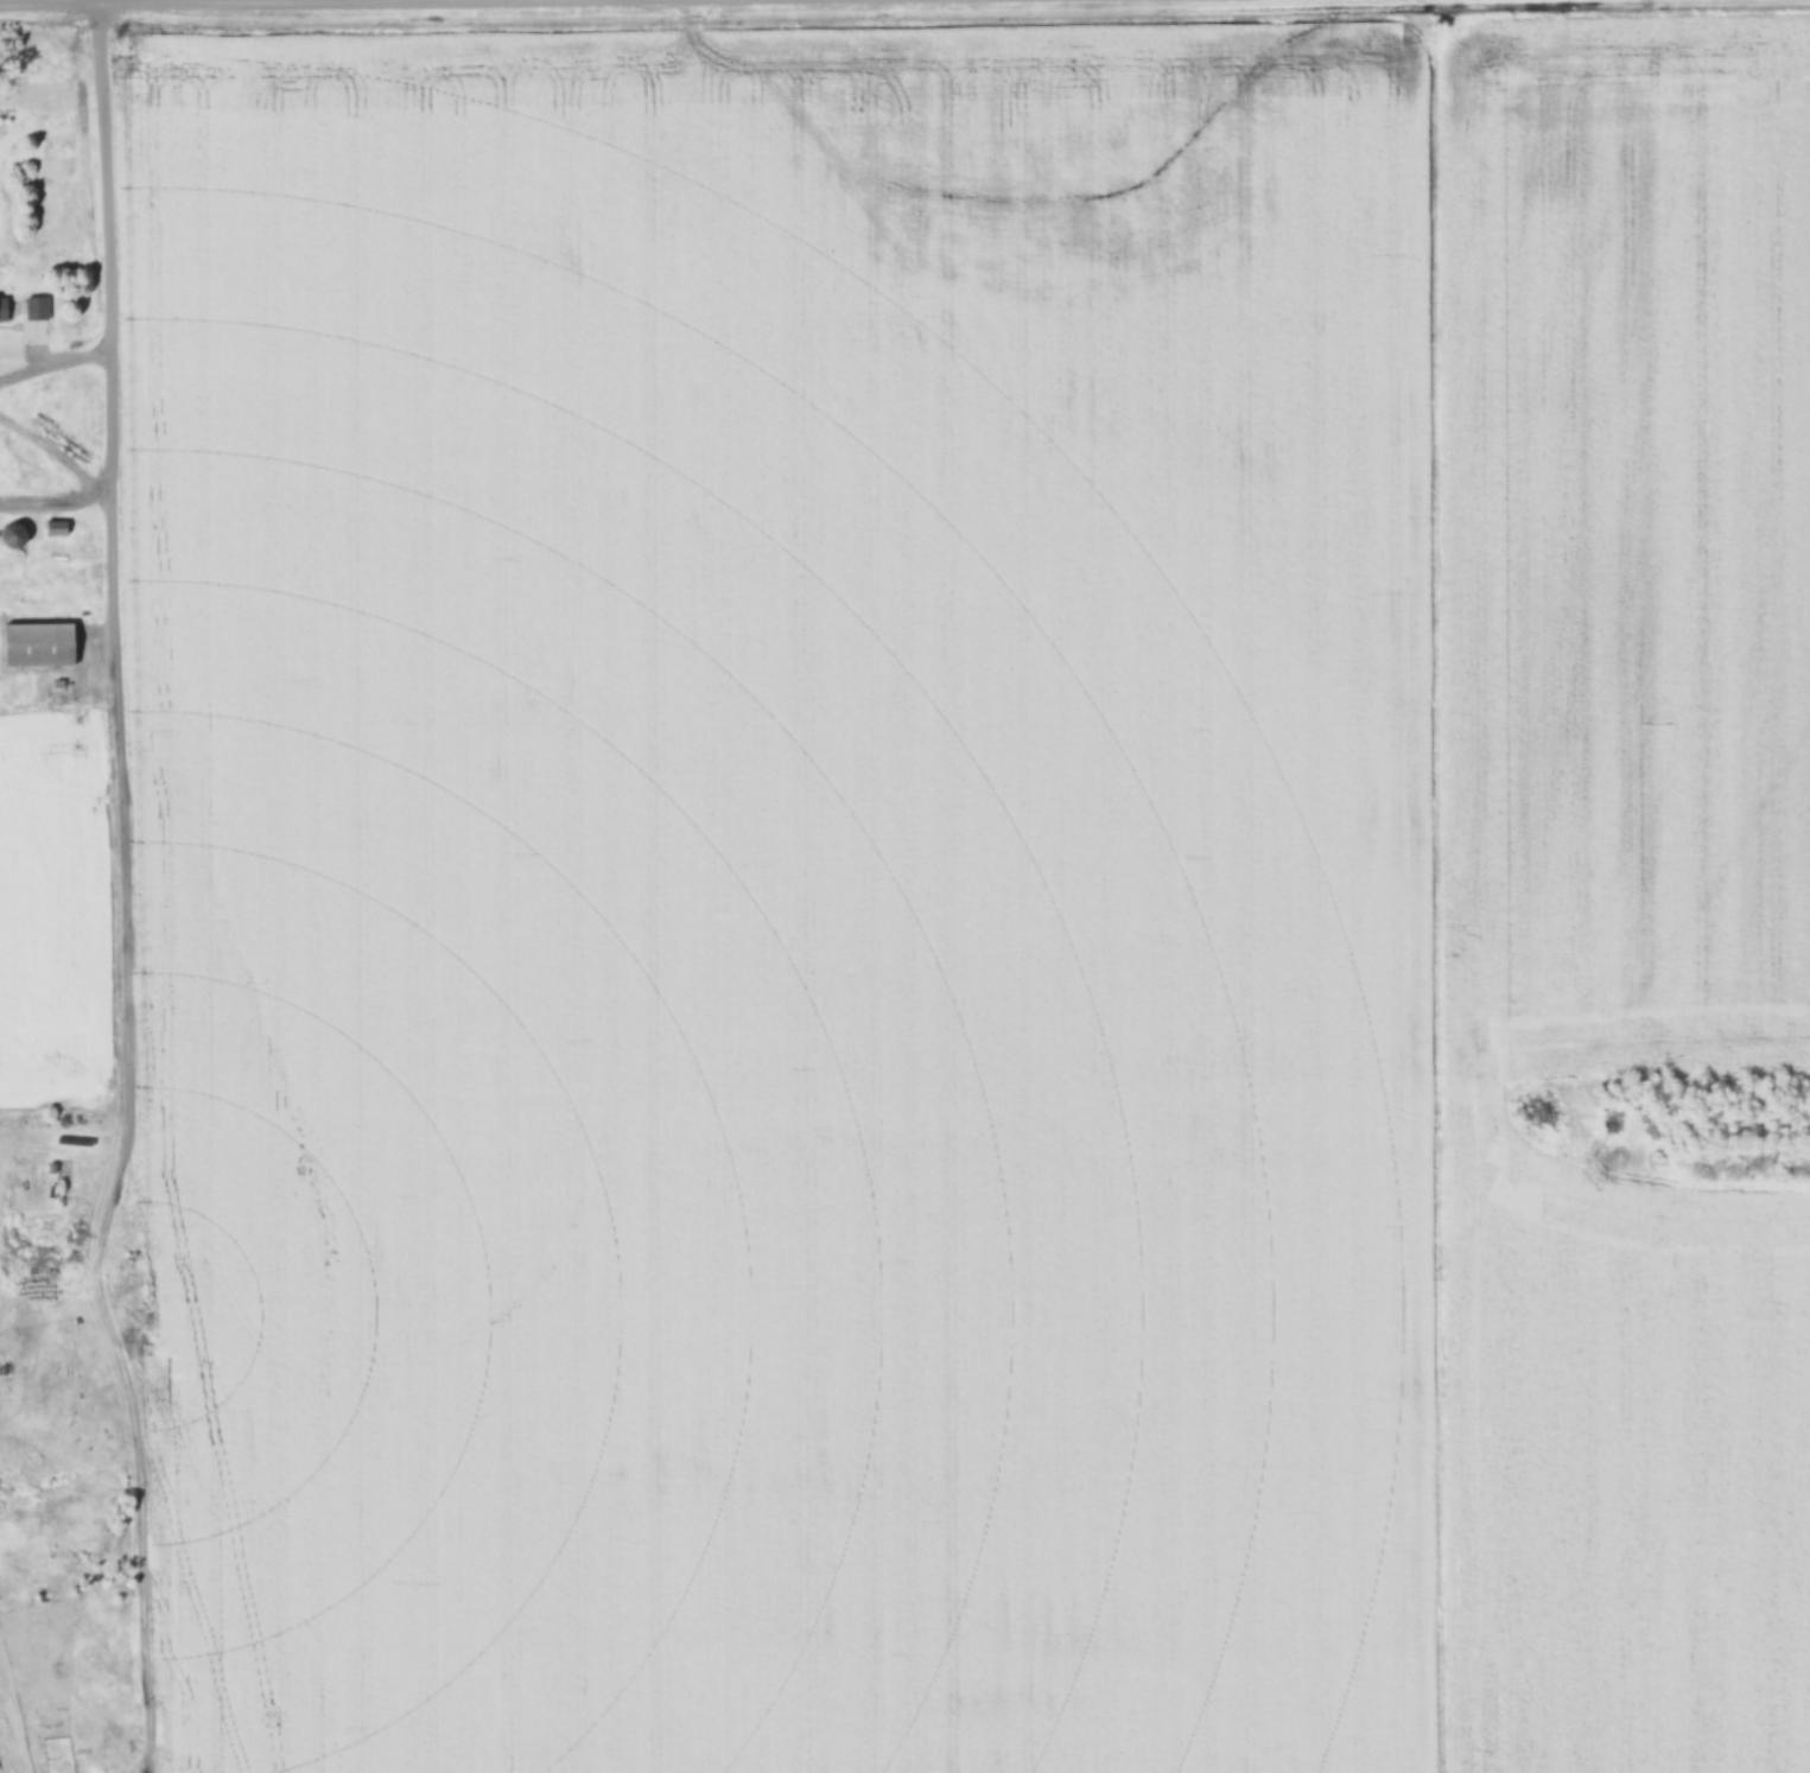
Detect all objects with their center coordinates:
road: (151, 1)
road: (109, 254)
building: (1, 309)
road: (56, 351)
building: (52, 527)
building: (9, 534)
building: (36, 643)
road: (119, 824)
road: (159, 1529)

